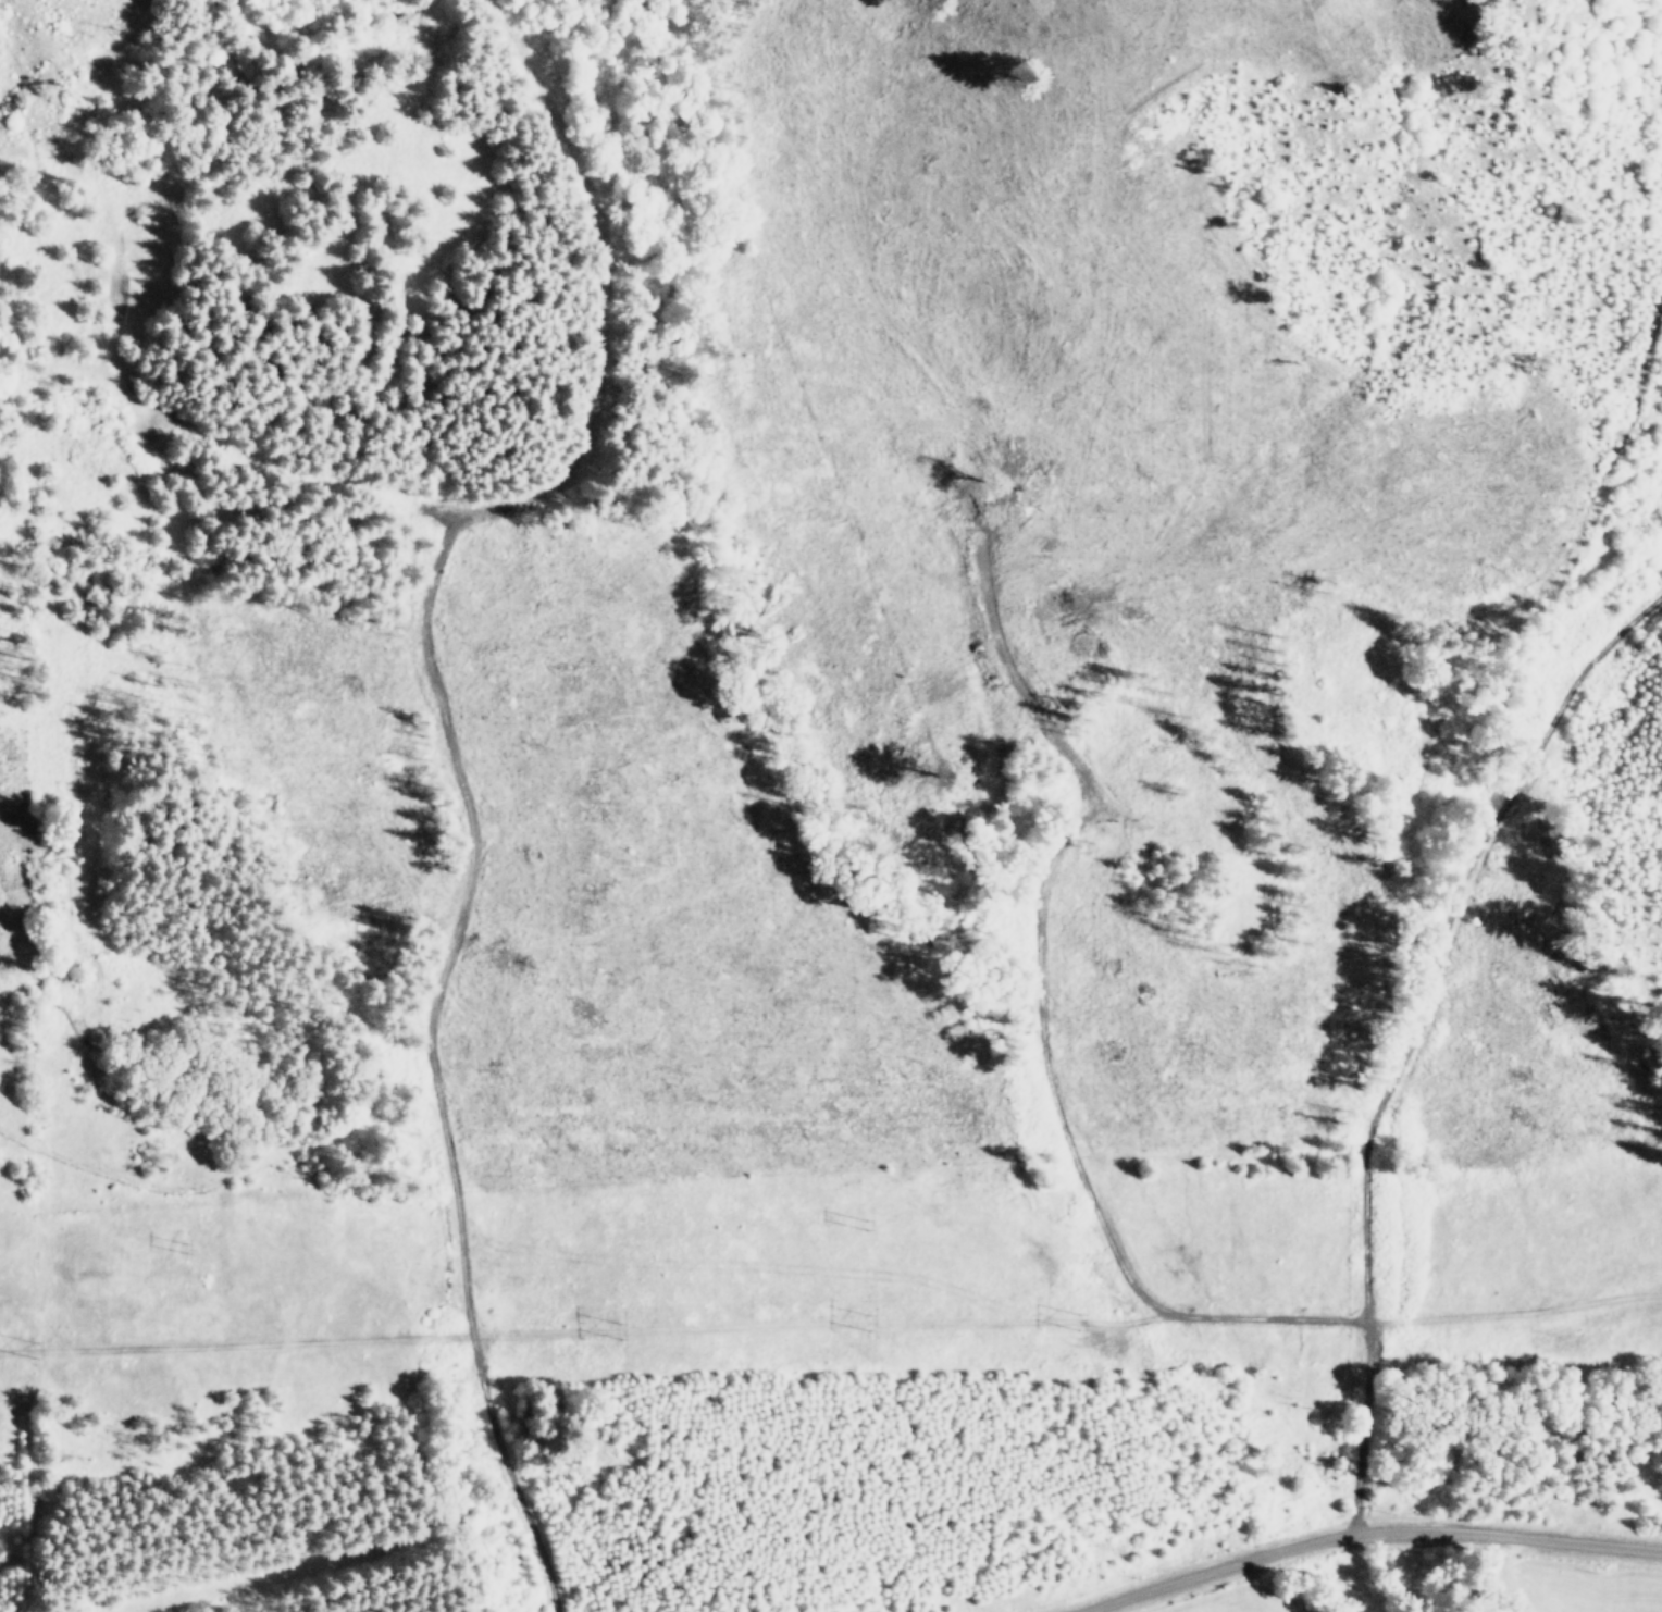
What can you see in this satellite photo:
power tower: (1081, 1319)
power tower: (873, 1322)
power tower: (619, 1328)
power tower: (33, 1355)
road: (1360, 1530)

